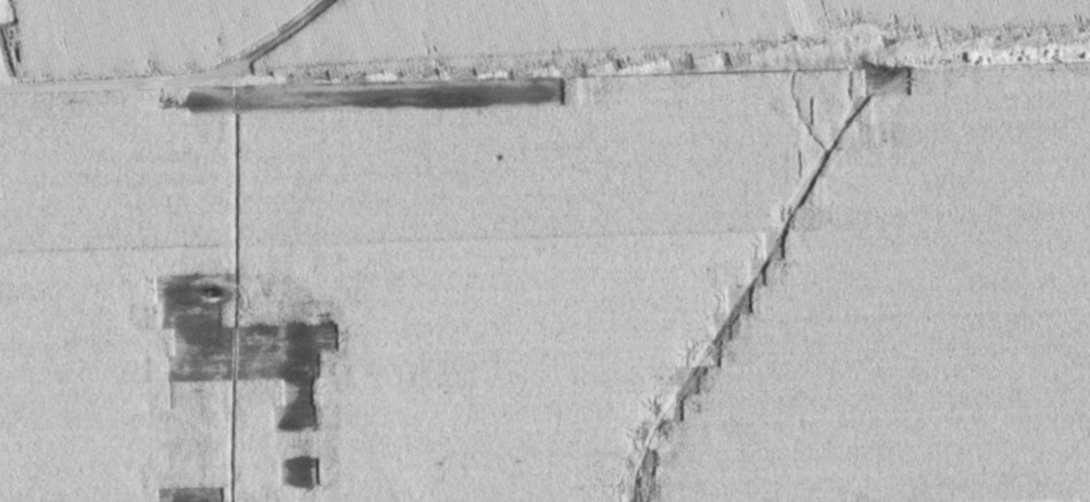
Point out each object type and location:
road: (178, 80)

